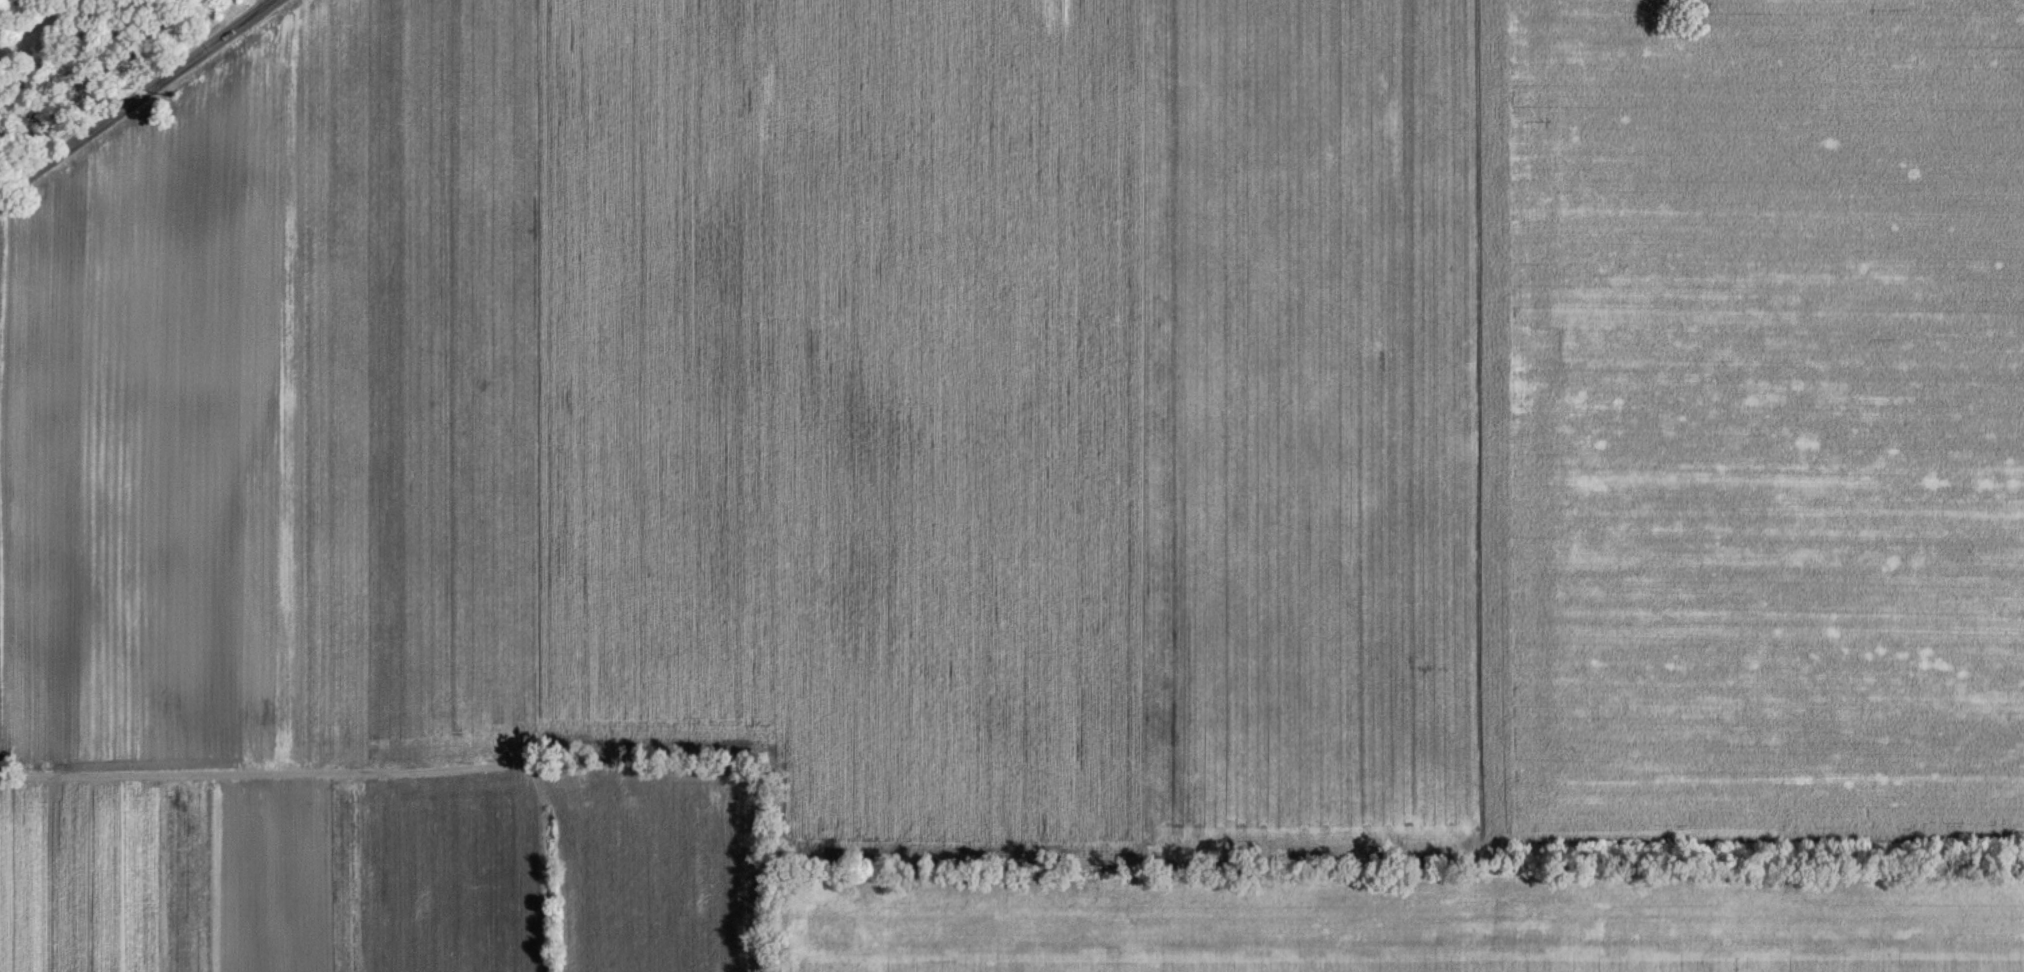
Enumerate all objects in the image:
road: (270, 1)
road: (137, 97)

